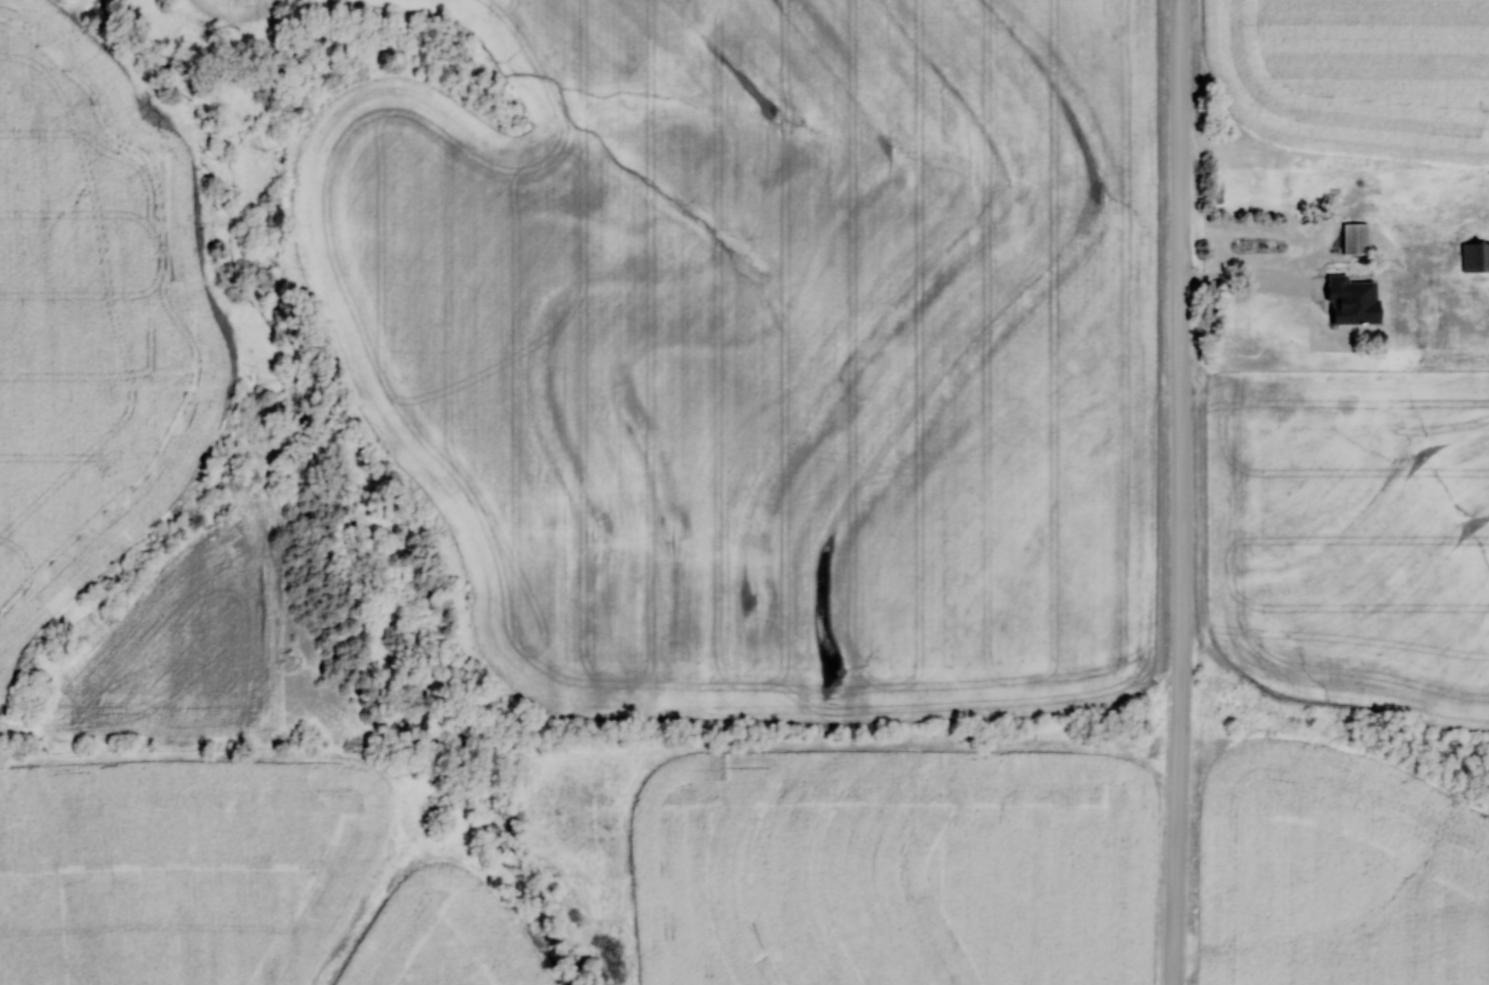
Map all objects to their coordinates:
building: (1334, 187)
building: (1300, 189)
building: (1354, 239)
building: (1286, 250)
building: (1474, 257)
road: (1179, 492)

